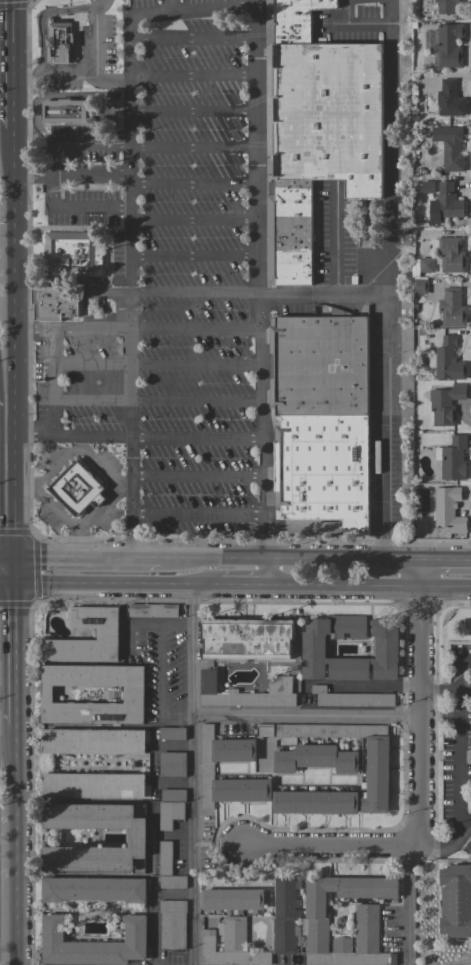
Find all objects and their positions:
building: (448, 6)
road: (192, 9)
building: (292, 19)
building: (59, 41)
building: (447, 44)
road: (12, 63)
road: (90, 73)
road: (110, 77)
road: (191, 78)
building: (449, 99)
building: (67, 110)
road: (192, 112)
building: (328, 115)
road: (90, 142)
road: (192, 148)
building: (450, 148)
road: (52, 159)
road: (90, 176)
road: (33, 177)
road: (192, 184)
building: (427, 187)
road: (48, 192)
building: (445, 203)
road: (88, 208)
road: (192, 220)
building: (289, 232)
building: (72, 254)
building: (450, 255)
road: (193, 257)
building: (421, 266)
road: (382, 278)
road: (128, 286)
building: (419, 286)
road: (193, 294)
road: (318, 294)
road: (258, 295)
building: (53, 303)
building: (452, 308)
road: (137, 330)
road: (15, 342)
building: (448, 360)
building: (319, 364)
road: (155, 365)
road: (50, 383)
road: (156, 403)
building: (445, 403)
road: (33, 437)
road: (156, 438)
building: (452, 459)
building: (323, 469)
road: (196, 475)
road: (27, 487)
road: (115, 487)
building: (76, 488)
road: (122, 490)
rooftop solar panel: (438, 503)
building: (448, 509)
road: (197, 516)
road: (78, 542)
road: (8, 556)
traffic signals: (17, 557)
road: (86, 558)
road: (289, 558)
road: (448, 559)
road: (17, 563)
road: (424, 575)
road: (17, 578)
road: (9, 585)
traffic signals: (18, 586)
road: (116, 588)
road: (241, 591)
road: (369, 591)
building: (152, 610)
road: (145, 625)
building: (107, 634)
building: (247, 638)
building: (384, 648)
road: (18, 655)
building: (279, 682)
road: (159, 689)
road: (443, 692)
building: (133, 693)
building: (350, 698)
road: (309, 717)
road: (424, 718)
building: (171, 733)
building: (94, 741)
building: (468, 756)
building: (315, 758)
building: (171, 764)
road: (463, 767)
building: (377, 768)
building: (207, 770)
road: (195, 778)
building: (94, 785)
building: (172, 795)
building: (314, 802)
building: (169, 814)
road: (467, 828)
building: (137, 837)
road: (18, 845)
road: (333, 846)
building: (164, 858)
building: (172, 881)
building: (94, 889)
road: (173, 893)
building: (232, 899)
building: (455, 900)
road: (407, 905)
building: (285, 917)
building: (172, 924)
building: (366, 927)
road: (153, 929)
building: (93, 943)
building: (231, 945)

